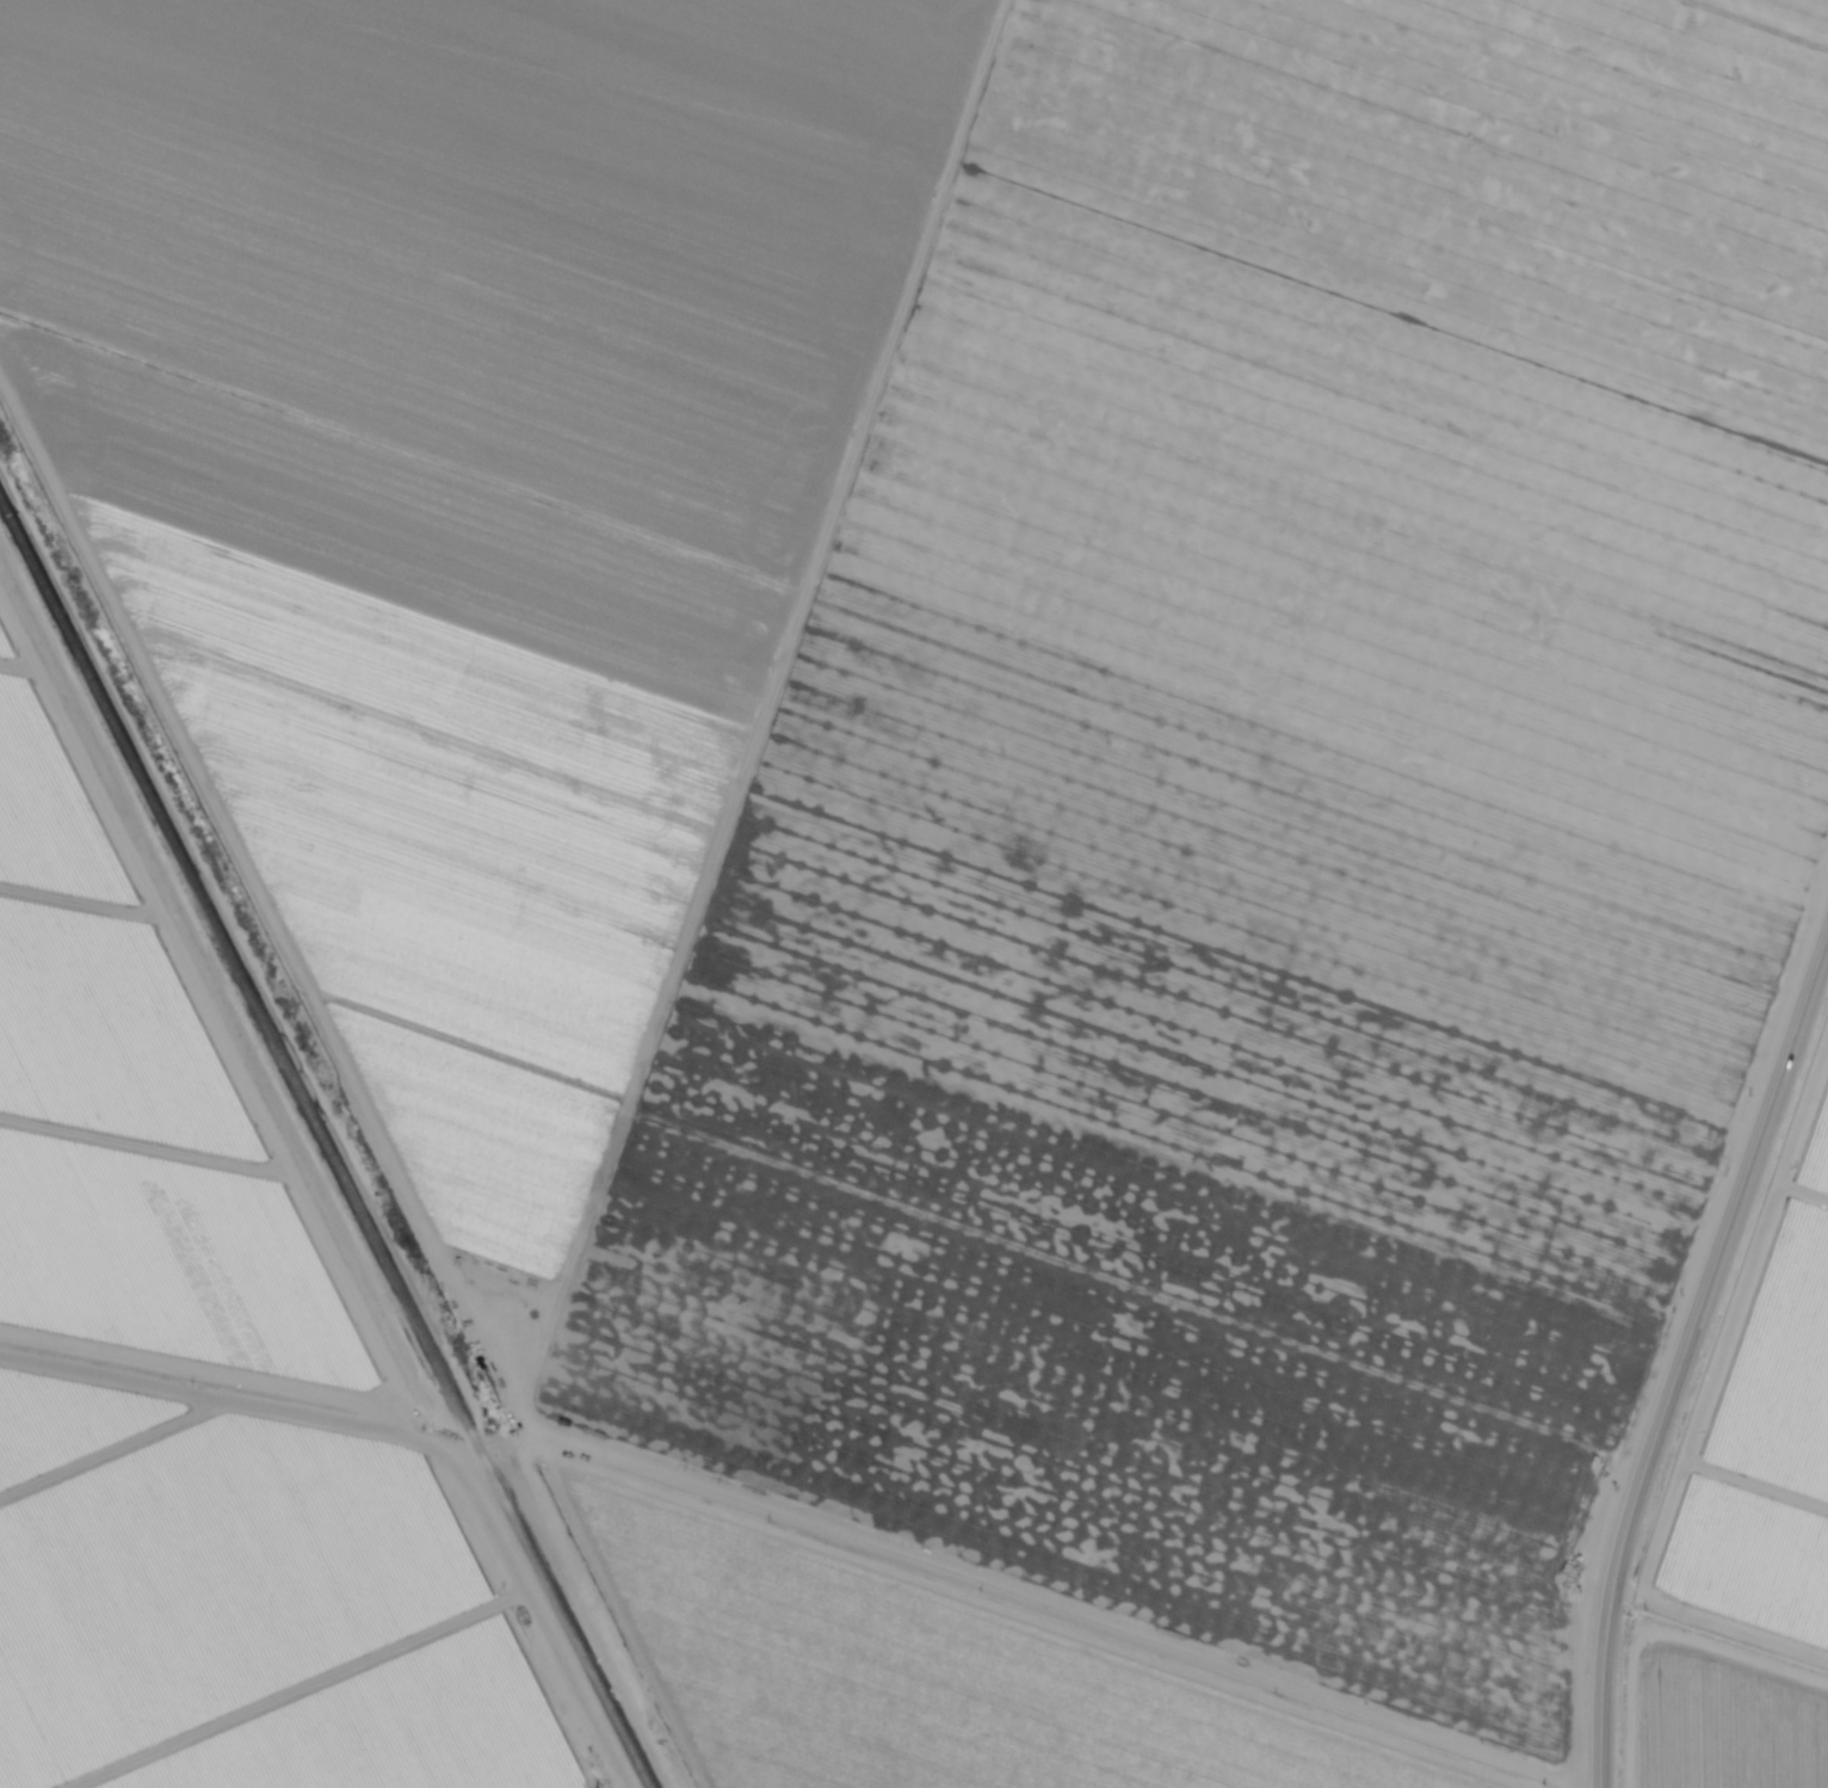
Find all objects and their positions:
crop: (1601, 79)
crop: (706, 80)
crop: (437, 245)
crop: (1406, 261)
crop: (397, 548)
crop: (1351, 567)
crop: (16, 628)
crop: (62, 804)
crop: (1270, 859)
crop: (439, 873)
crop: (121, 1029)
railway: (326, 1143)
crop: (1172, 1145)
crop: (482, 1174)
crop: (181, 1258)
road: (1681, 1346)
crop: (1764, 1416)
crop: (1082, 1444)
road: (764, 1527)
crop: (247, 1609)
road: (1718, 1624)
crop: (920, 1678)
crop: (1725, 1725)

